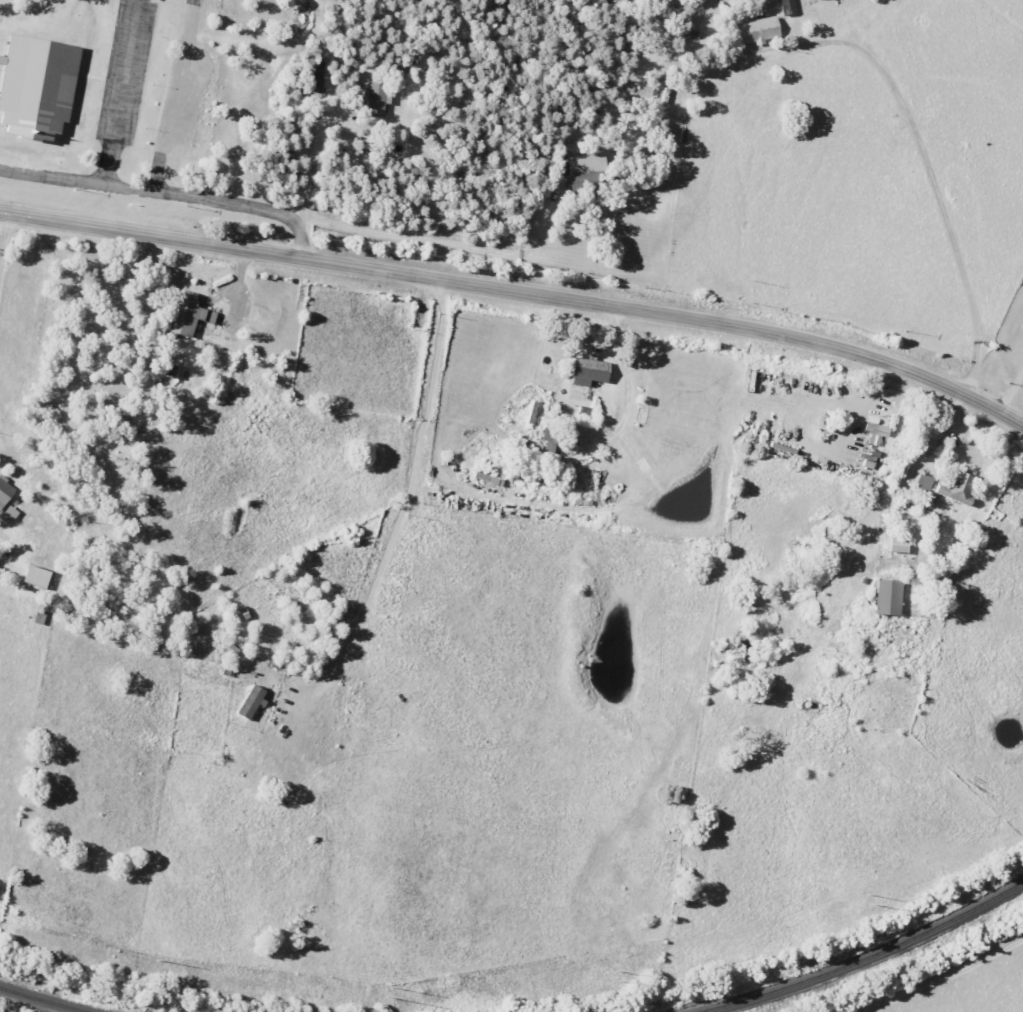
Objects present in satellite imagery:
building: (787, 7)
building: (756, 30)
building: (35, 87)
road: (121, 93)
road: (175, 97)
building: (376, 97)
road: (312, 162)
building: (587, 173)
road: (932, 189)
road: (166, 195)
road: (3, 236)
road: (445, 245)
road: (519, 293)
building: (187, 315)
building: (588, 371)
road: (1009, 389)
building: (880, 427)
building: (554, 435)
building: (873, 439)
building: (923, 483)
building: (956, 488)
building: (4, 490)
road: (400, 512)
building: (9, 513)
building: (896, 545)
building: (34, 576)
building: (886, 597)
building: (249, 701)
railway: (868, 957)
road: (943, 978)
railway: (41, 999)

